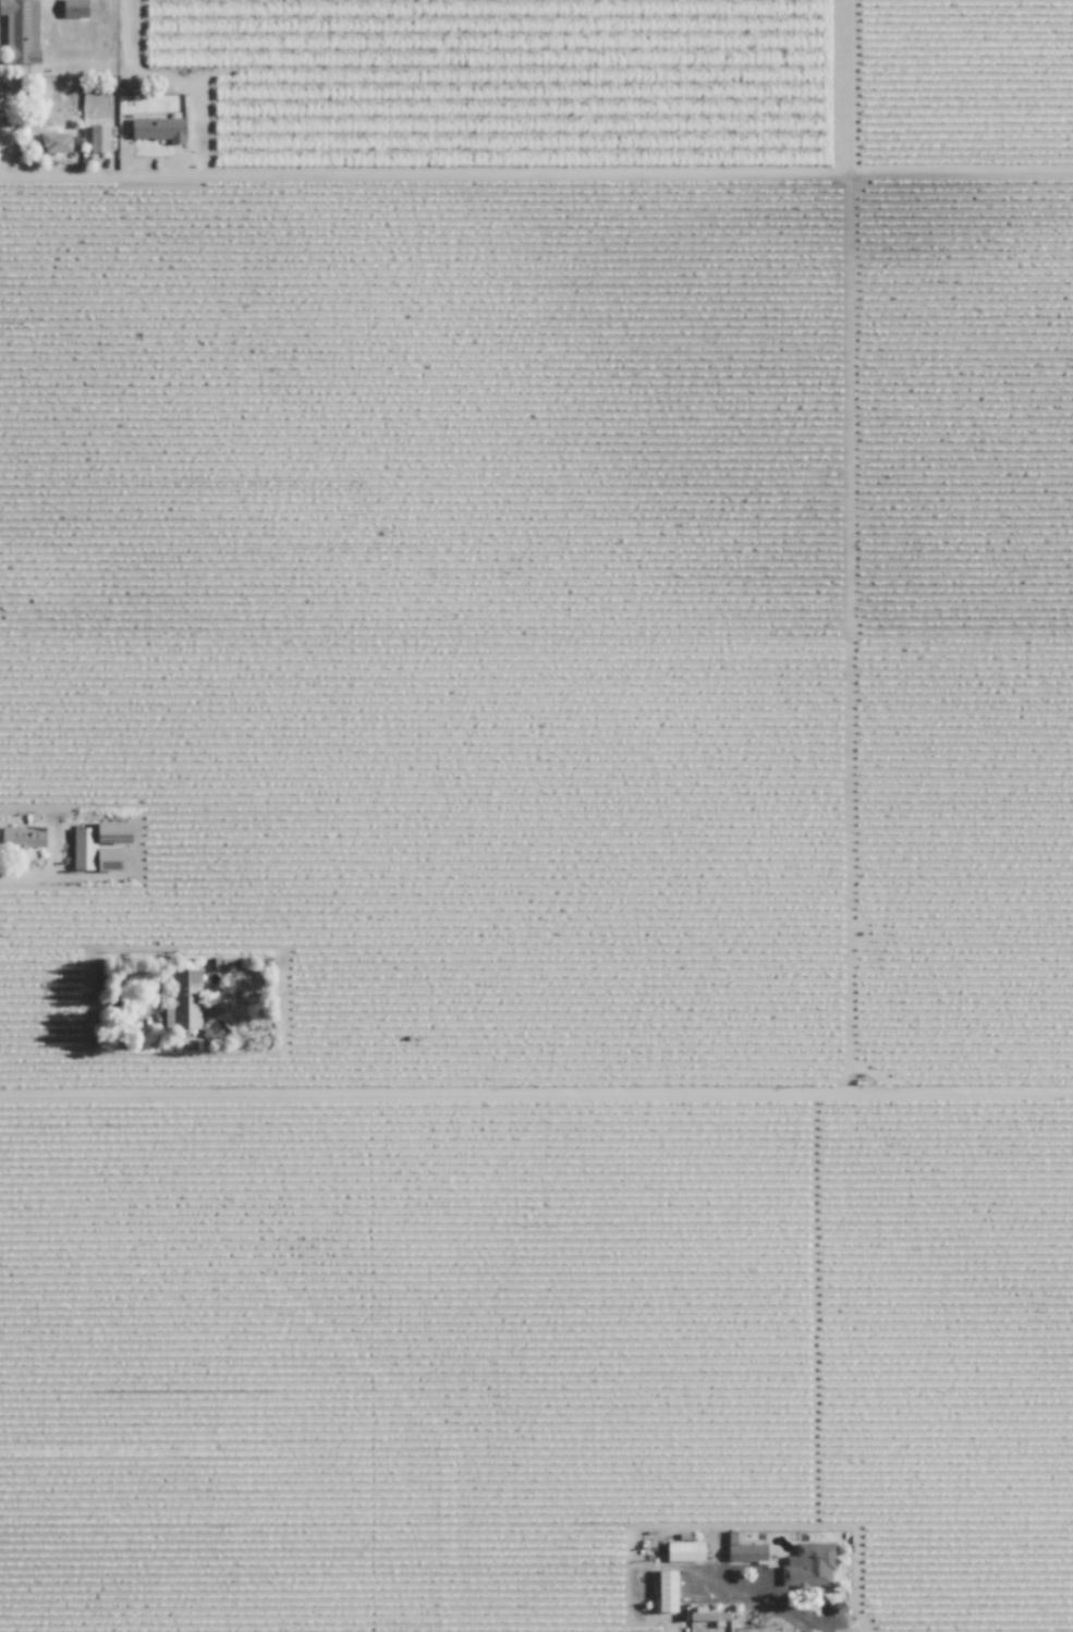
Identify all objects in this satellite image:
building: (76, 8)
building: (21, 31)
building: (161, 129)
road: (145, 171)
building: (25, 836)
building: (85, 848)
road: (48, 876)
road: (70, 1004)
road: (536, 1092)
building: (681, 1549)
road: (763, 1597)

